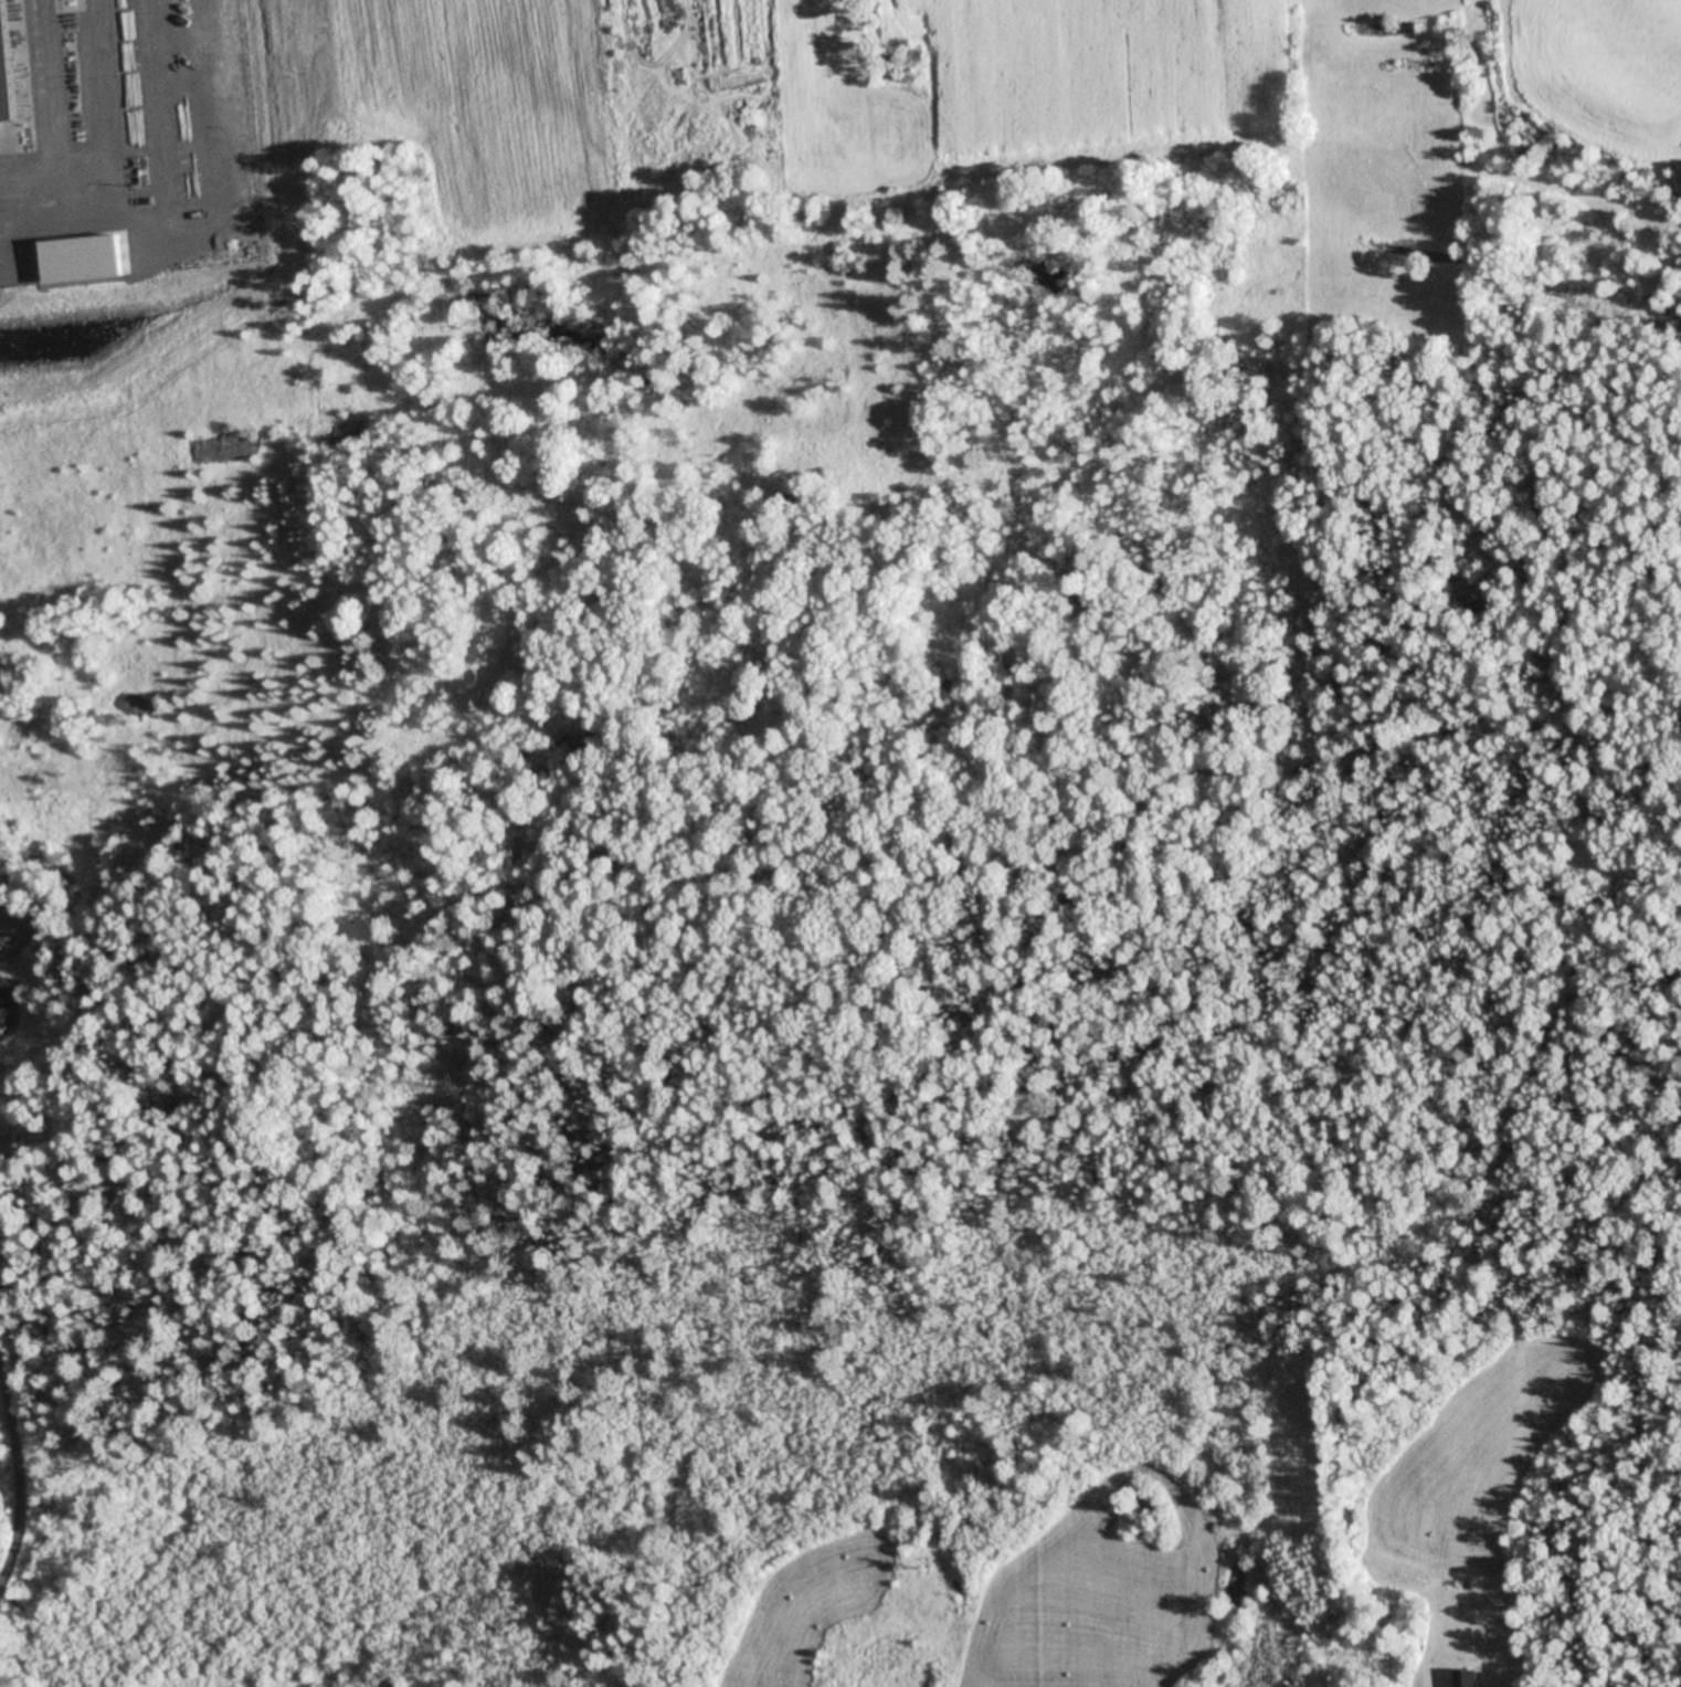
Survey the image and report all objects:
building: (9, 997)
building: (1461, 1678)

